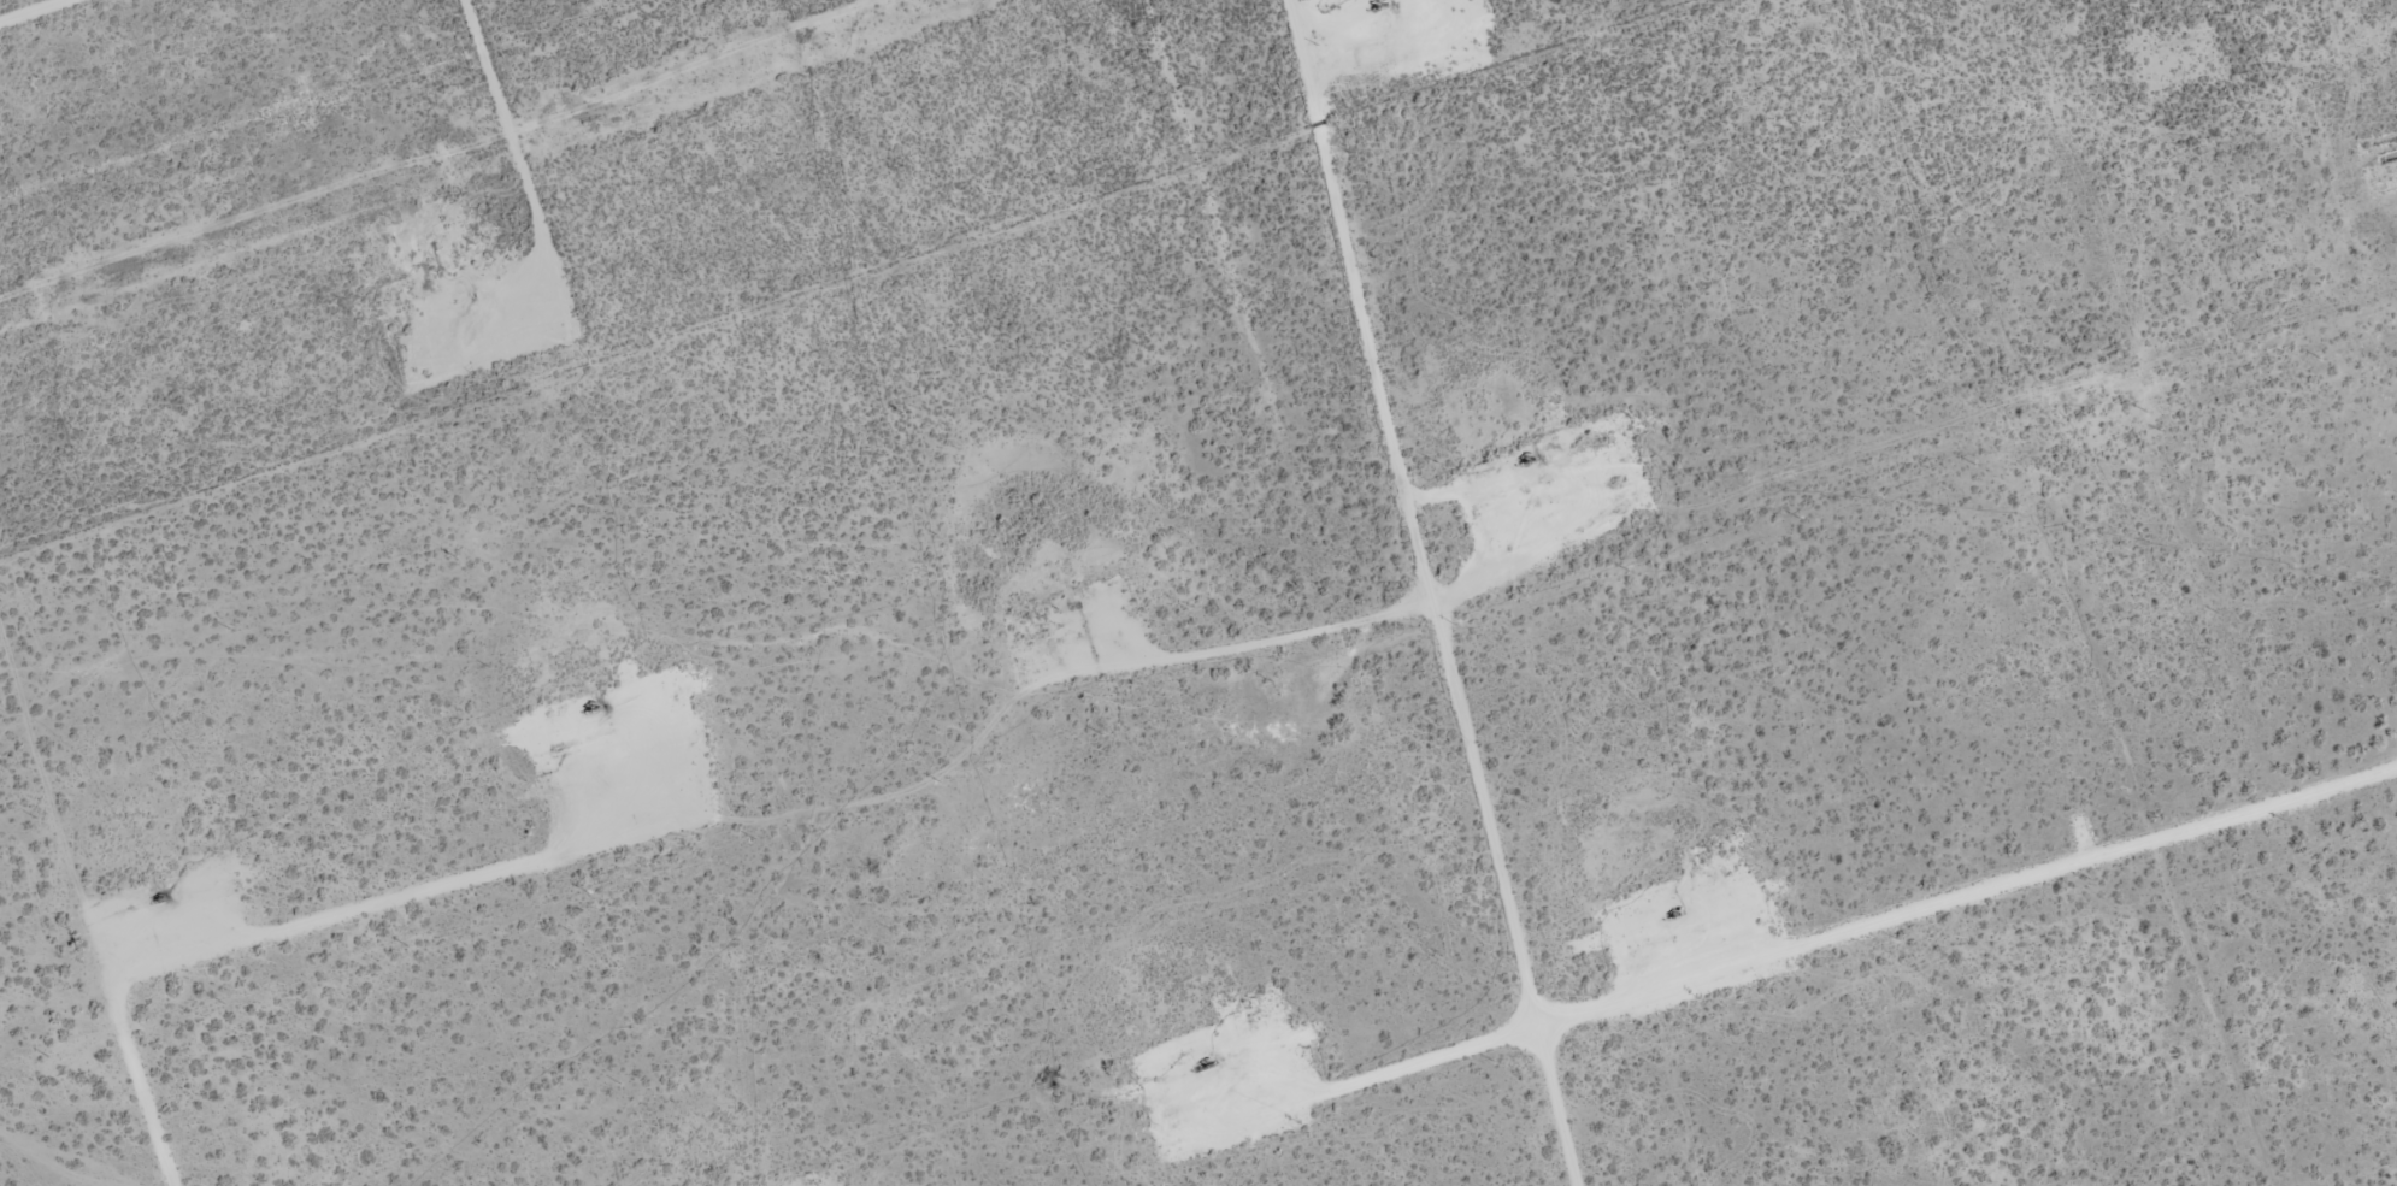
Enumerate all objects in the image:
road: (1365, 596)
road: (1977, 604)
road: (694, 648)

